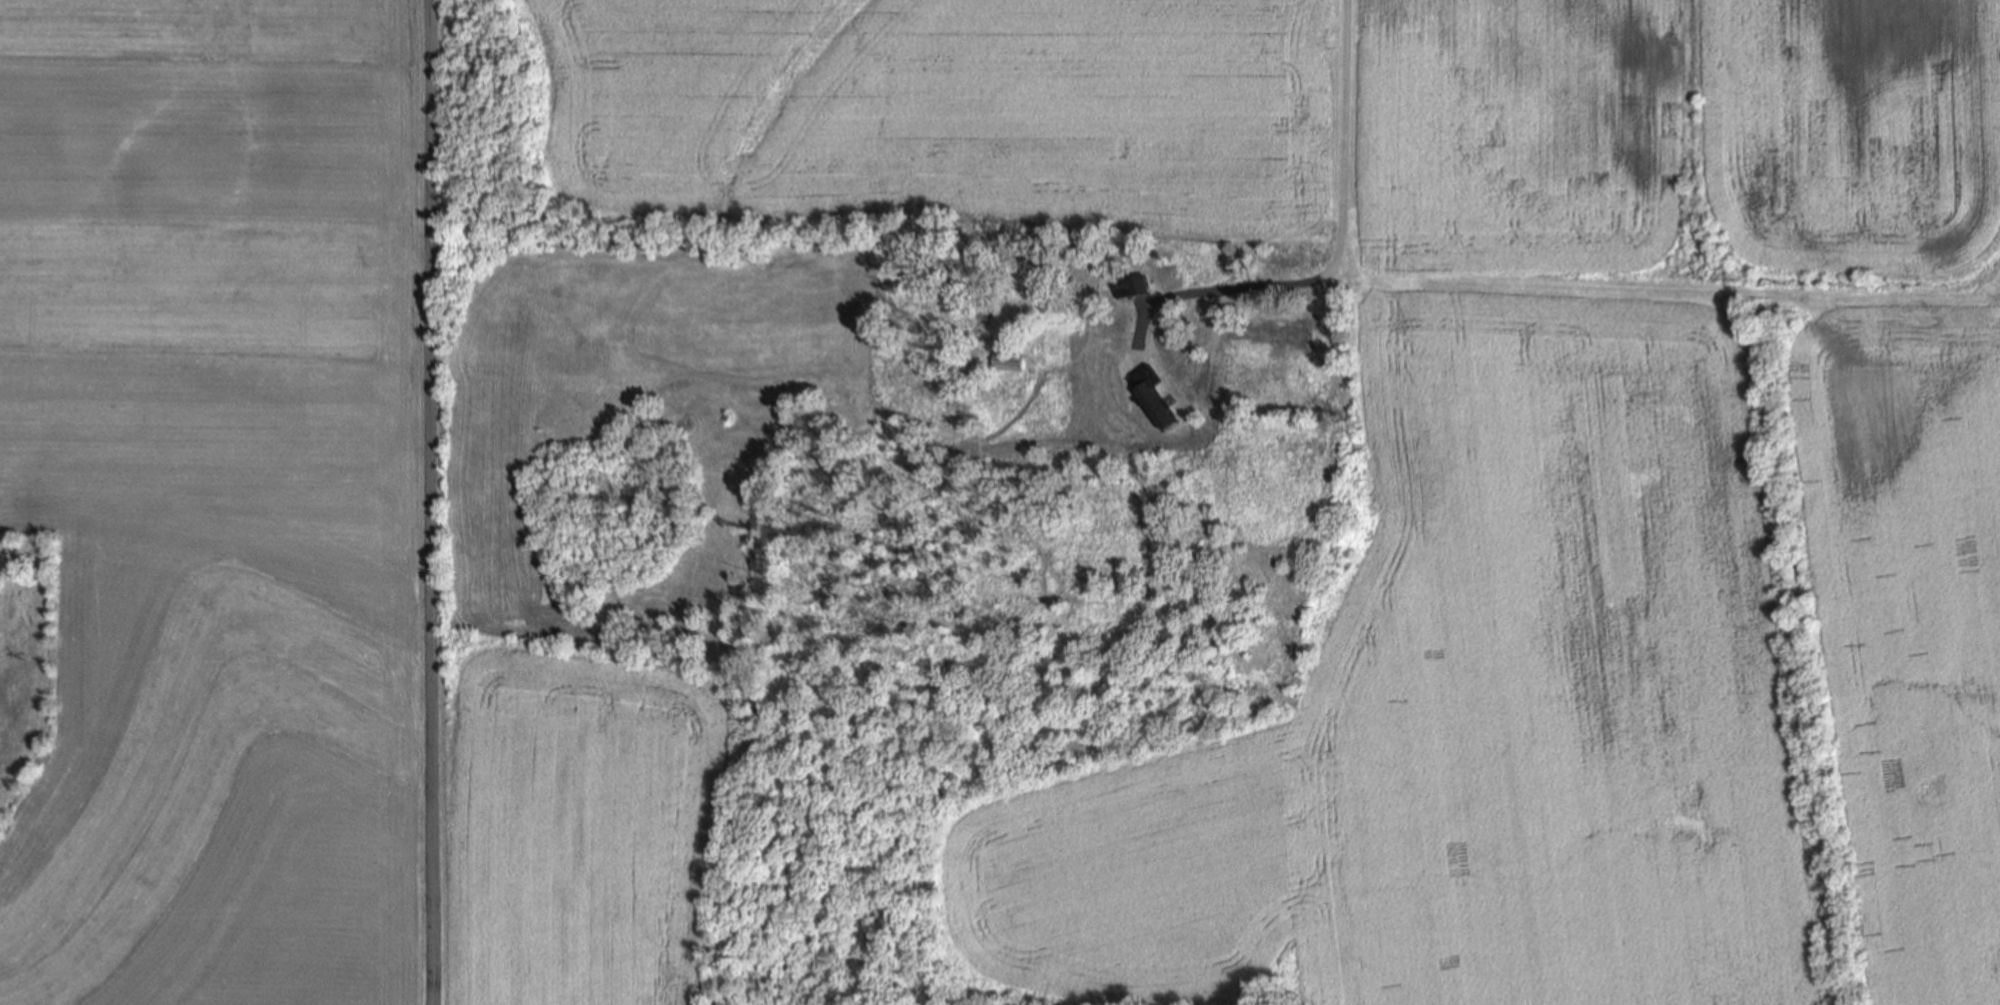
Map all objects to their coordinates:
road: (1337, 250)
building: (1283, 333)
building: (1171, 414)
building: (1150, 422)
road: (430, 502)

